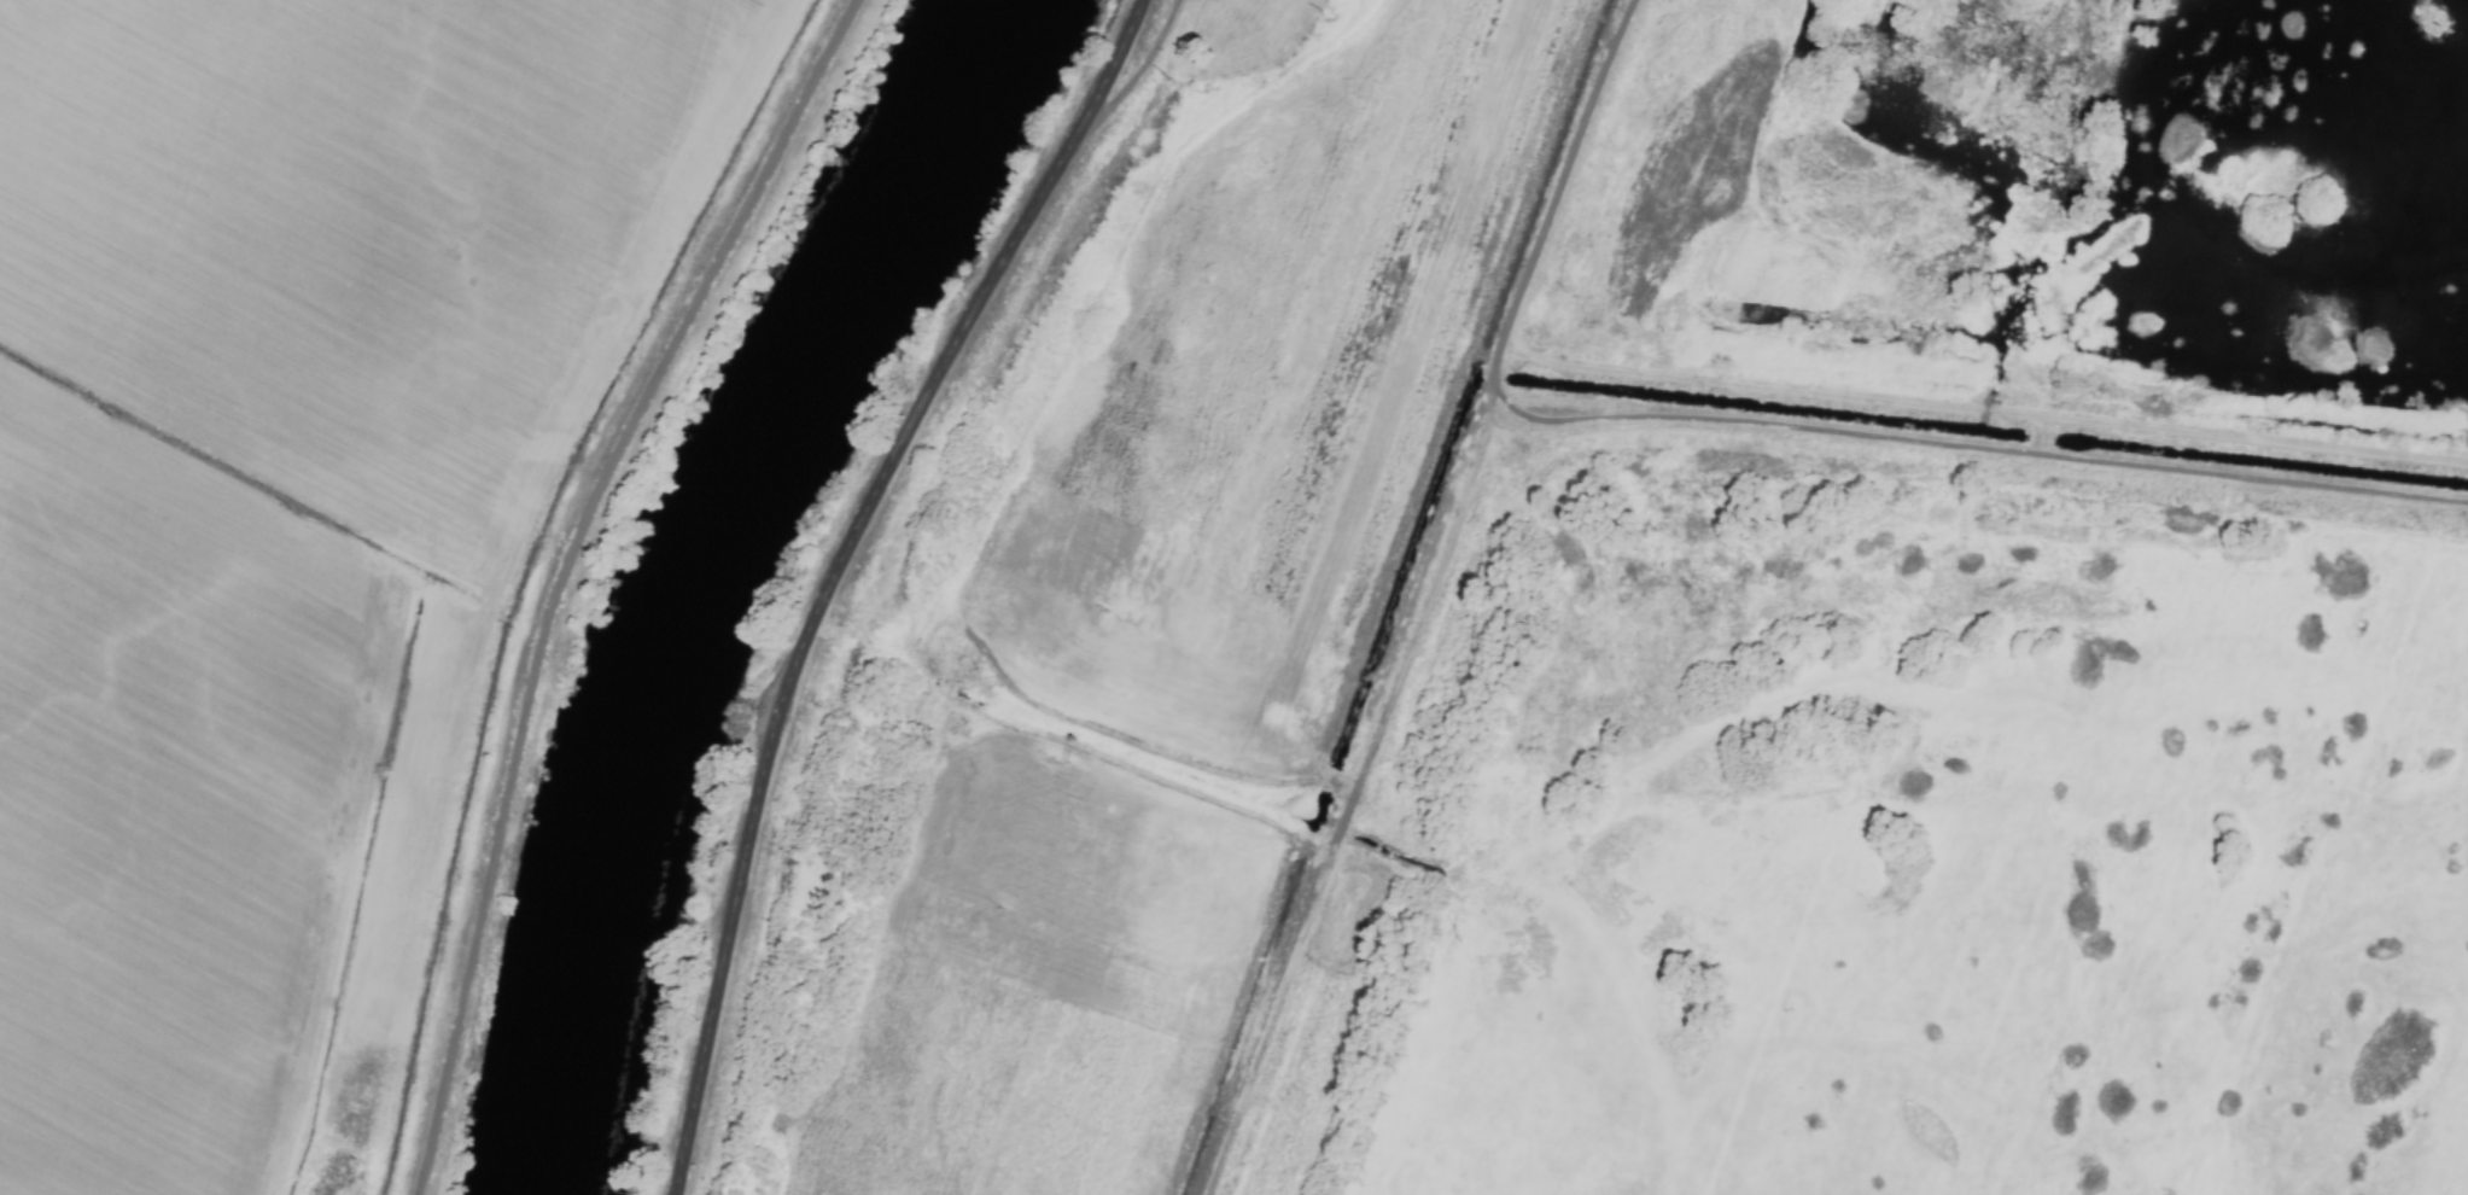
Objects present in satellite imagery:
road: (1138, 70)
crop: (311, 513)
road: (835, 570)
road: (561, 571)
crop: (1114, 617)

